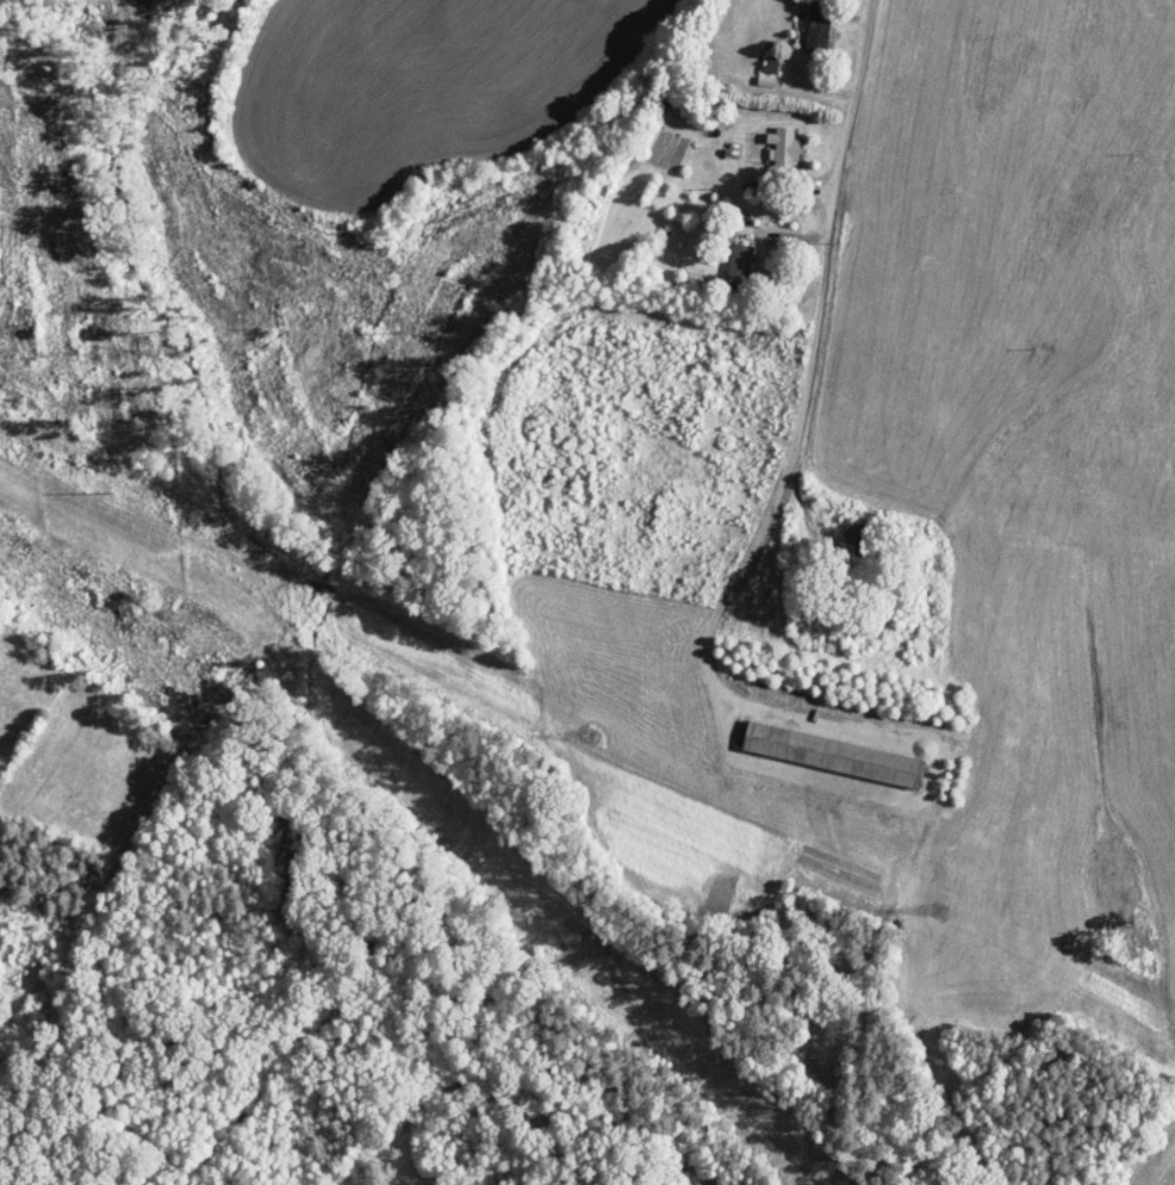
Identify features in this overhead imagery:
building: (820, 26)
building: (784, 151)
building: (741, 262)
power tower: (89, 483)
road: (803, 497)
power tower: (593, 739)
power tower: (940, 907)

